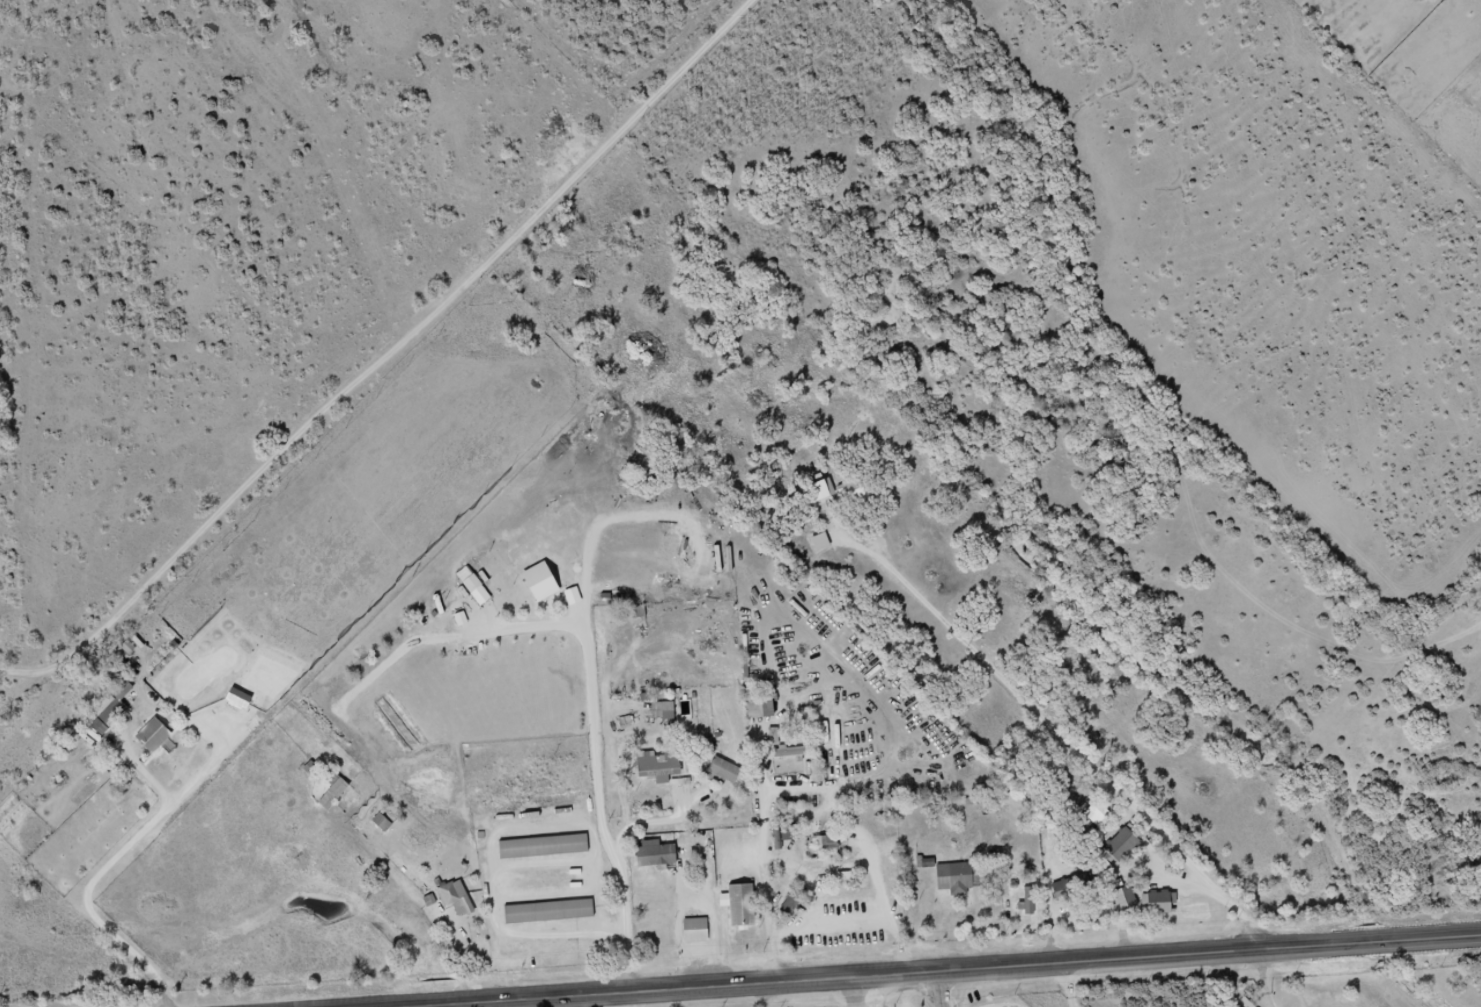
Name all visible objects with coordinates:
road: (416, 342)
building: (859, 493)
building: (468, 581)
building: (538, 583)
road: (460, 641)
road: (601, 709)
building: (758, 709)
building: (112, 710)
building: (662, 711)
building: (685, 711)
building: (152, 737)
road: (1069, 738)
building: (789, 753)
building: (657, 767)
building: (723, 771)
building: (331, 795)
building: (1099, 816)
building: (780, 834)
building: (826, 845)
building: (1122, 845)
building: (542, 848)
road: (126, 855)
building: (954, 879)
building: (1070, 889)
building: (454, 898)
building: (1124, 900)
building: (1029, 901)
building: (1159, 904)
building: (738, 906)
building: (548, 913)
building: (694, 931)
road: (943, 973)
road: (1244, 982)
road: (170, 986)
road: (1028, 988)
road: (766, 997)

